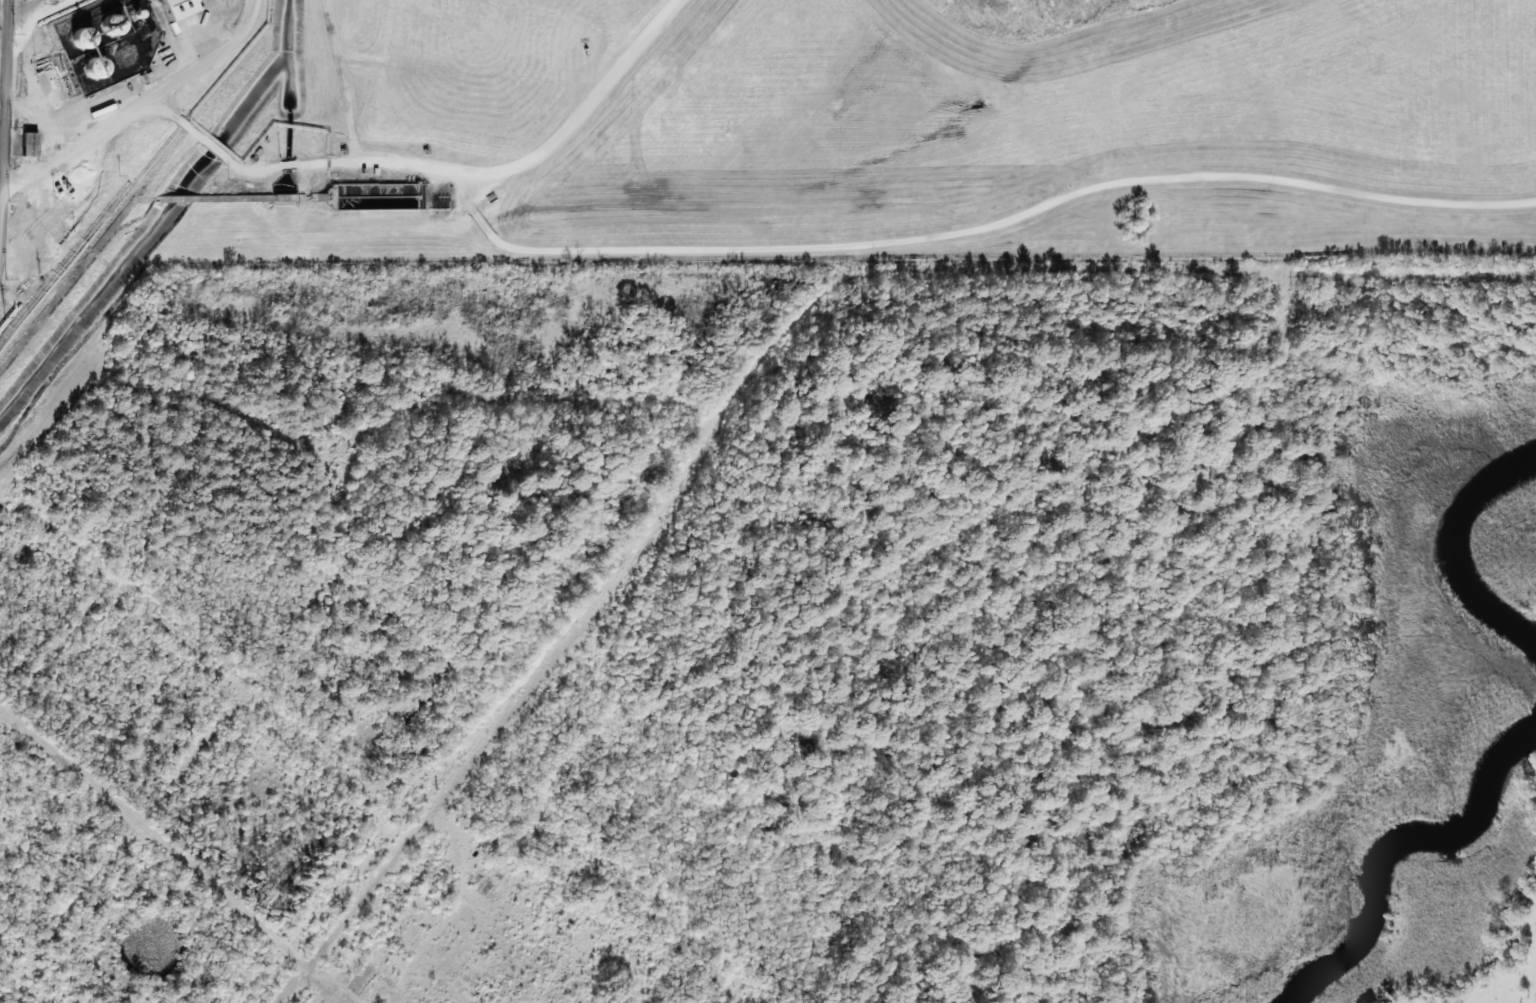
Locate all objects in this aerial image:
building: (171, 10)
building: (112, 29)
storage tank: (112, 29)
building: (83, 41)
storage tank: (83, 41)
building: (97, 72)
storage tank: (97, 72)
road: (135, 102)
road: (354, 117)
road: (4, 138)
building: (27, 145)
road: (301, 167)
road: (849, 246)
road: (764, 360)
road: (10, 715)
road: (158, 836)
road: (71, 905)
park: (1505, 976)

